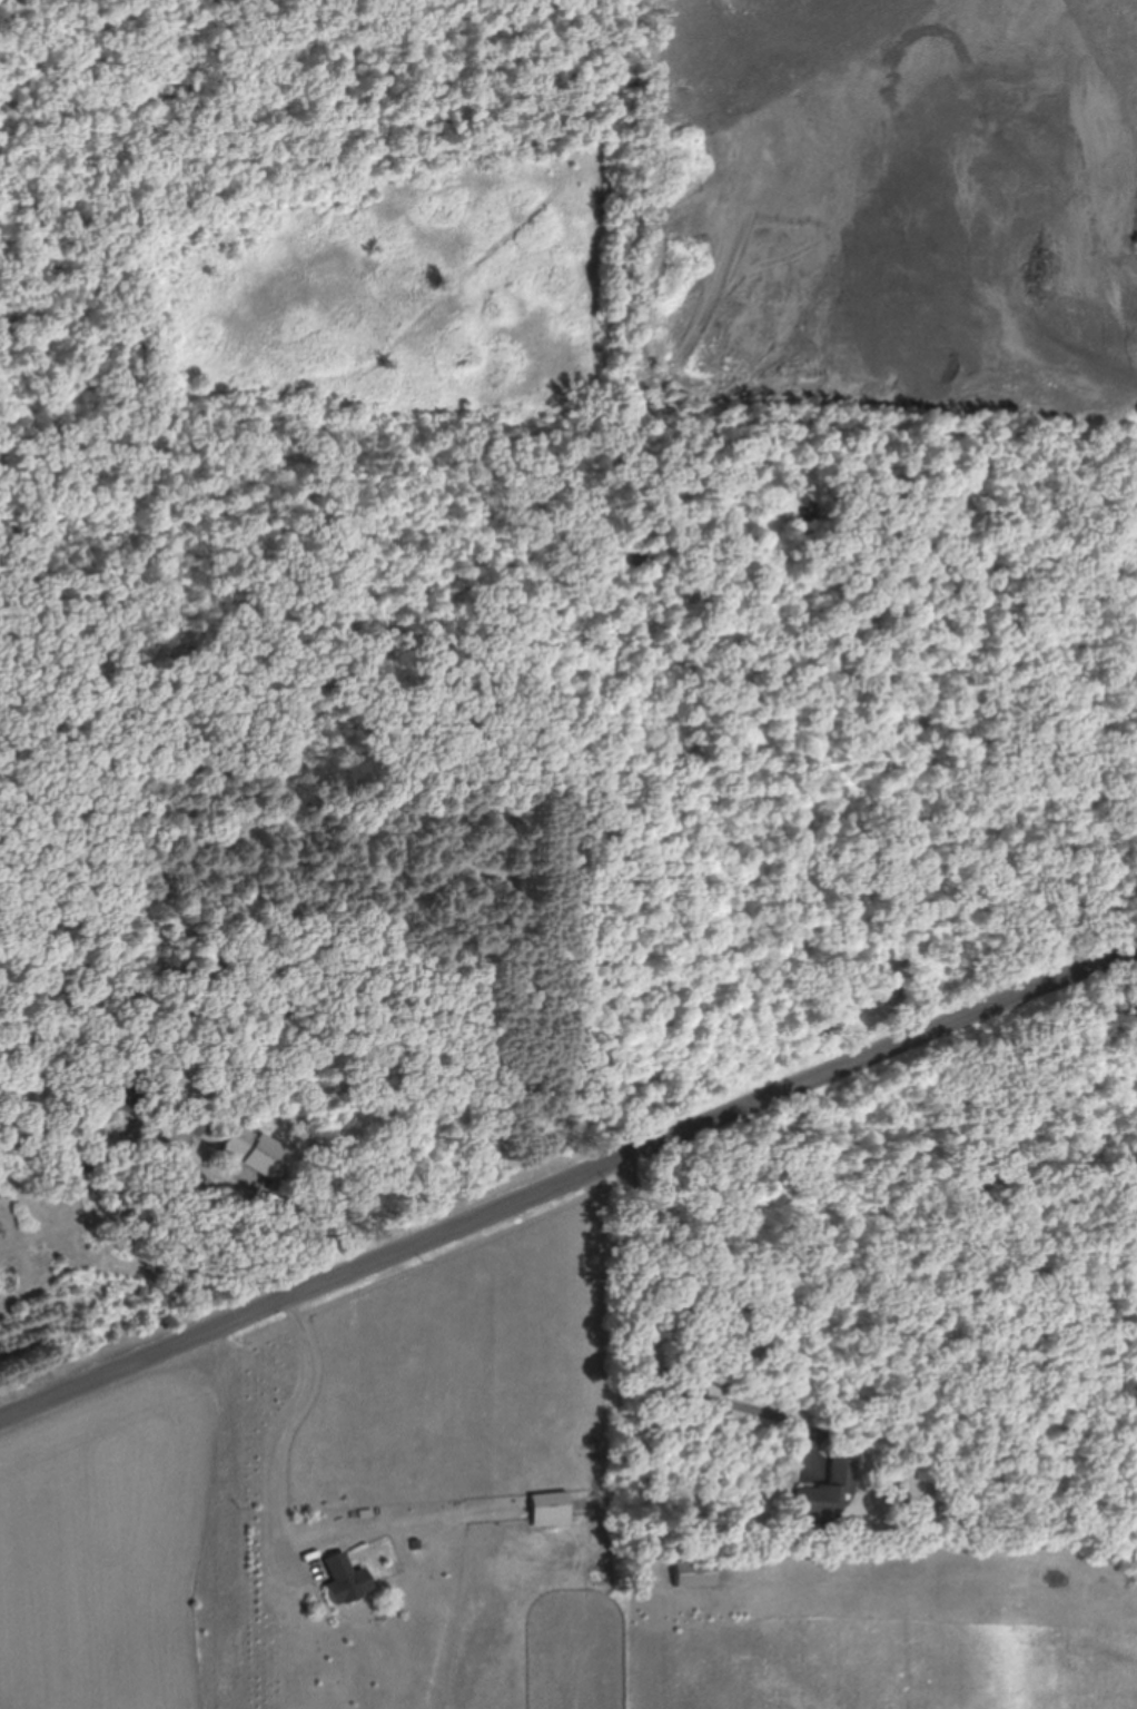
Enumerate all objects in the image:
park: (303, 204)
building: (257, 1152)
road: (566, 1177)
building: (831, 1492)
building: (554, 1509)
building: (696, 1573)
building: (349, 1580)

